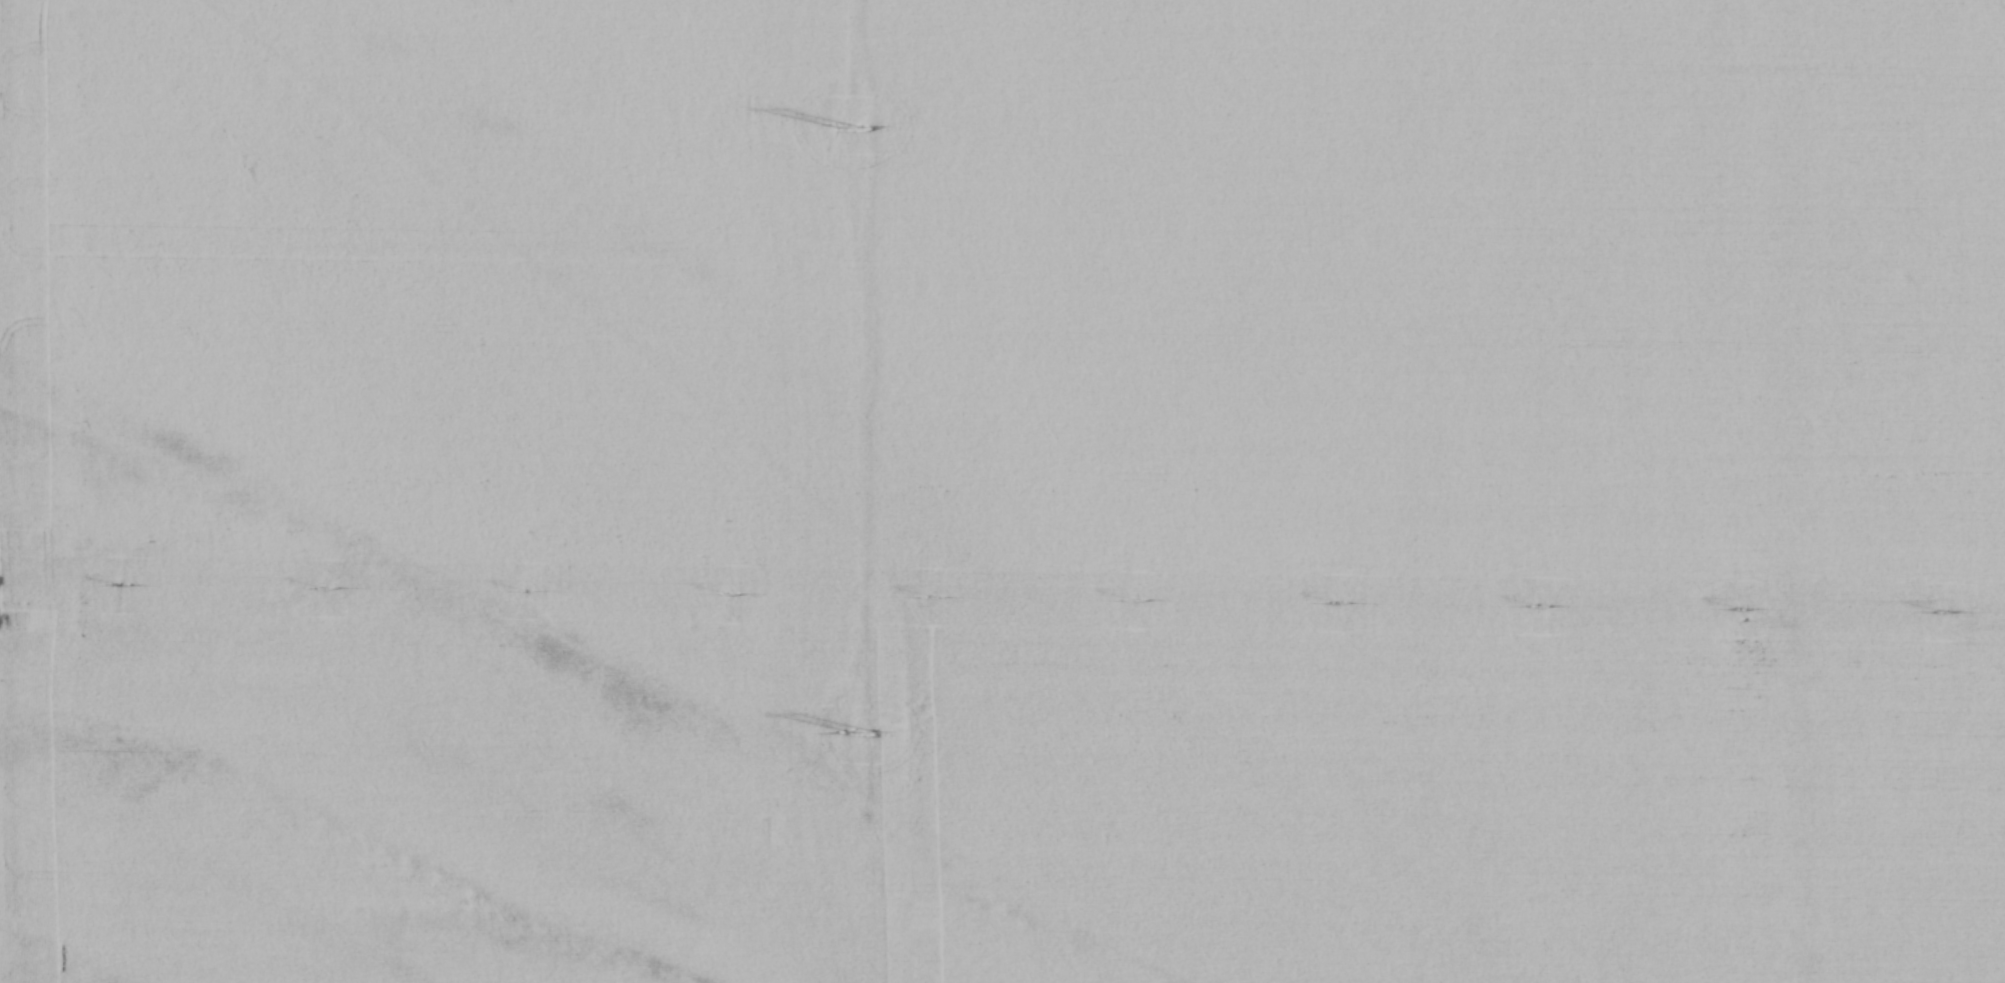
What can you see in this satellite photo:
power tower: (849, 125)
power tower: (864, 729)

